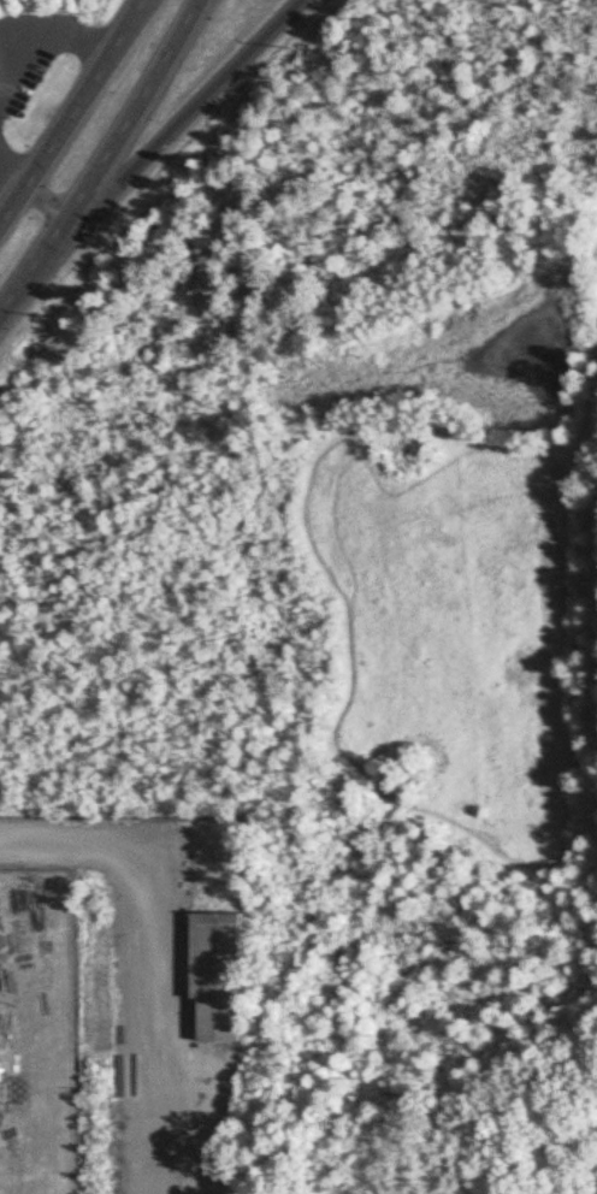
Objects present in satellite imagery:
road: (20, 35)
road: (45, 40)
road: (137, 110)
road: (191, 113)
road: (72, 114)
road: (13, 179)
road: (49, 206)
road: (36, 268)
road: (593, 419)
road: (356, 459)
park: (351, 577)
road: (347, 605)
road: (148, 883)
building: (219, 974)
road: (554, 1171)

